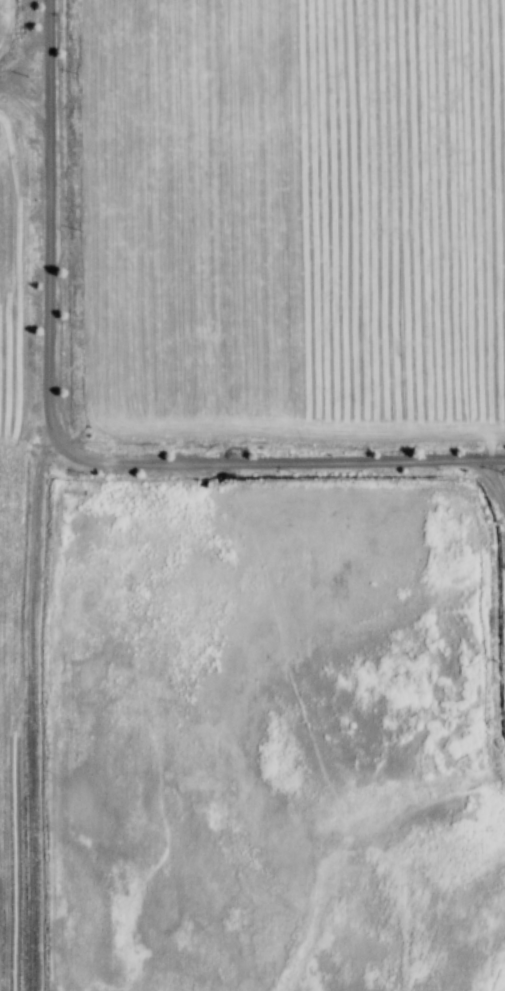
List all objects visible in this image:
crop: (13, 26)
road: (31, 57)
crop: (299, 216)
road: (66, 442)
road: (492, 476)
crop: (23, 579)
crop: (193, 716)
crop: (408, 768)

